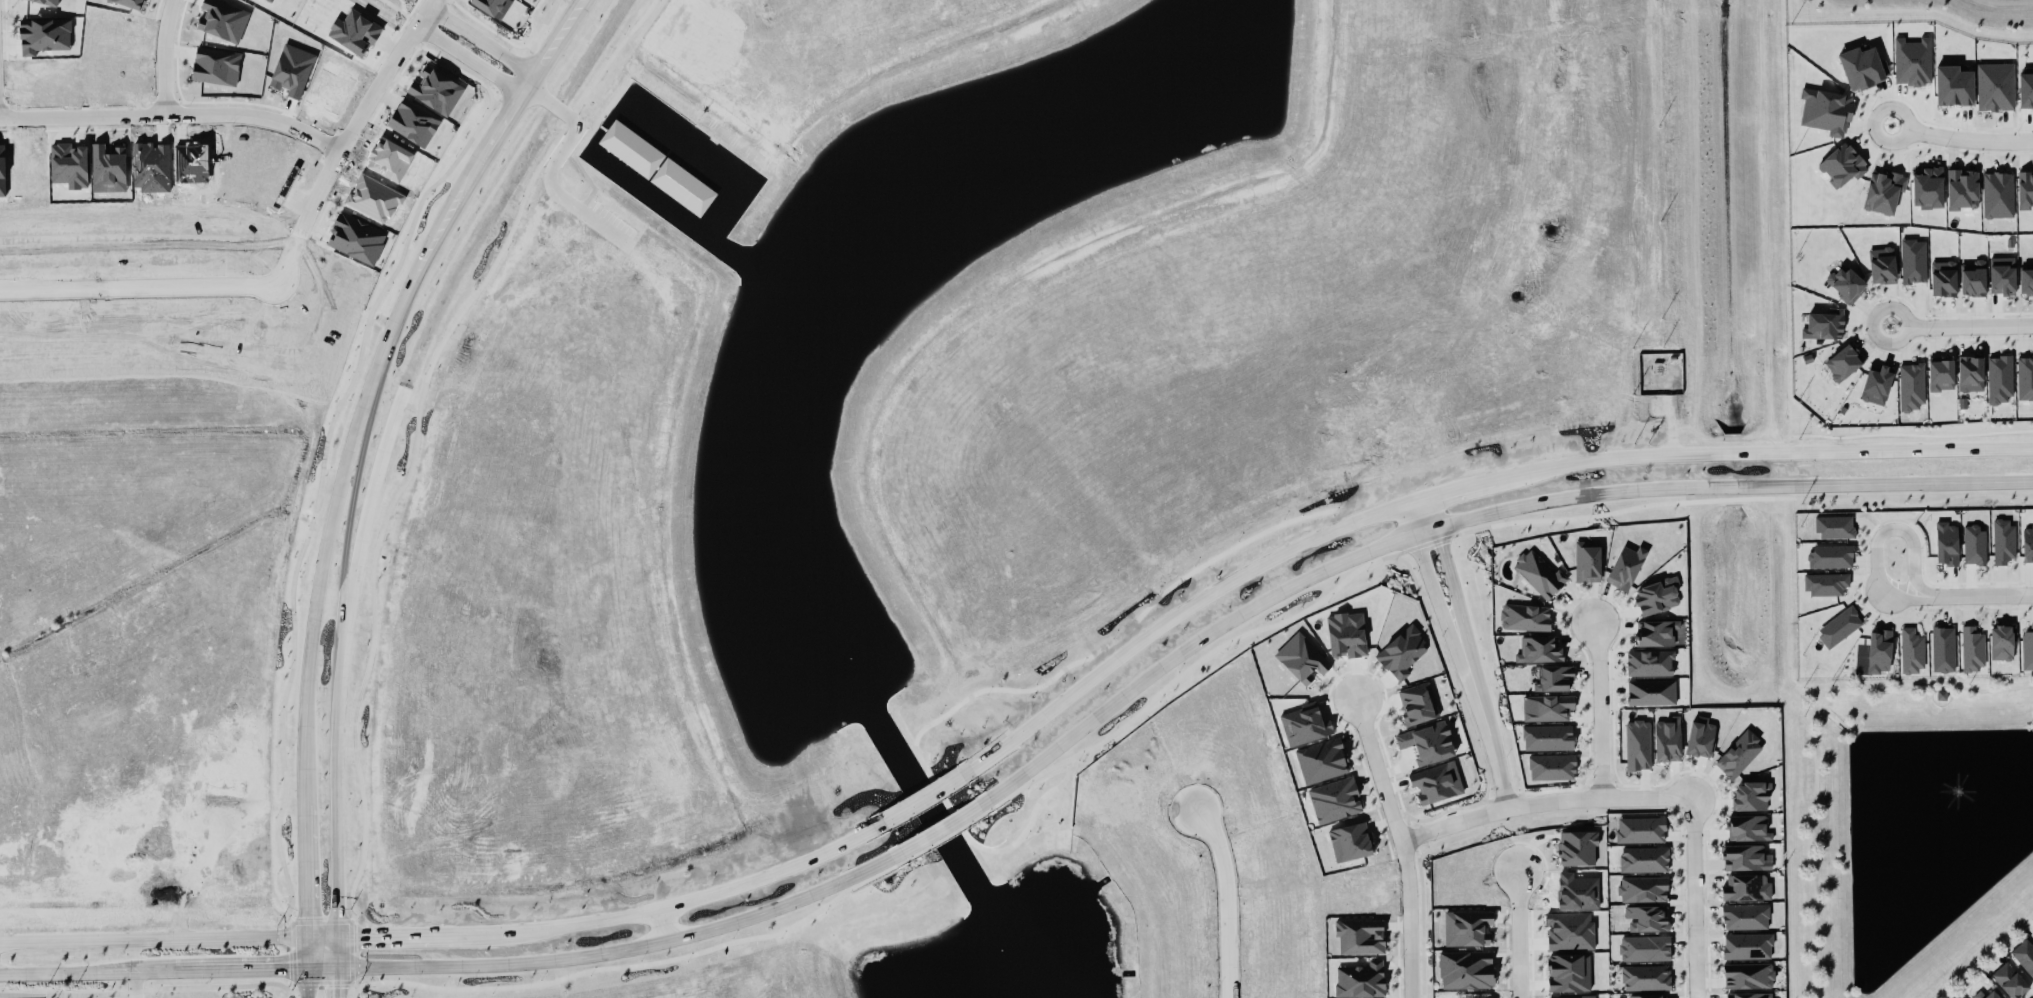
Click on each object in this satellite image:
building: (489, 6)
building: (222, 21)
building: (358, 31)
road: (480, 40)
road: (165, 56)
road: (466, 59)
building: (1913, 62)
building: (216, 68)
building: (292, 71)
road: (1533, 88)
building: (1996, 88)
building: (437, 92)
building: (1827, 112)
road: (172, 115)
road: (1396, 123)
road: (346, 137)
road: (1960, 137)
building: (1843, 166)
road: (552, 169)
road: (458, 187)
building: (751, 189)
building: (2025, 192)
building: (1884, 194)
building: (1998, 197)
building: (357, 240)
road: (1560, 248)
building: (1914, 263)
building: (1883, 267)
building: (2003, 278)
building: (1944, 280)
building: (1974, 280)
building: (2027, 281)
building: (1848, 286)
road: (139, 291)
road: (1960, 324)
building: (1825, 326)
building: (1844, 365)
building: (1942, 376)
building: (1972, 376)
building: (2025, 380)
building: (2000, 381)
building: (1878, 388)
building: (1912, 389)
road: (1458, 487)
road: (1733, 488)
road: (1433, 513)
road: (1410, 519)
building: (1835, 528)
road: (1425, 531)
road: (361, 537)
road: (347, 538)
road: (1879, 538)
building: (2003, 542)
building: (2028, 544)
road: (1379, 545)
building: (1947, 545)
building: (1974, 546)
building: (1831, 558)
building: (1588, 563)
building: (1627, 568)
road: (1449, 574)
building: (1539, 575)
road: (1430, 579)
building: (1825, 585)
road: (1973, 596)
building: (1658, 597)
building: (1526, 618)
building: (1840, 628)
building: (1656, 633)
building: (1347, 635)
building: (2002, 643)
building: (1943, 650)
building: (1973, 650)
building: (1539, 651)
building: (1912, 651)
building: (2027, 651)
building: (1880, 652)
building: (1302, 659)
road: (308, 661)
building: (1650, 664)
road: (1155, 673)
building: (1555, 679)
building: (1652, 694)
building: (1938, 697)
building: (1418, 705)
building: (1549, 709)
road: (1601, 711)
road: (1483, 715)
road: (1807, 737)
building: (1548, 739)
building: (1700, 740)
building: (1668, 741)
building: (1429, 743)
building: (1638, 746)
building: (1739, 756)
building: (1552, 768)
building: (1437, 783)
building: (1751, 798)
building: (1335, 801)
road: (1544, 803)
road: (927, 804)
road: (337, 815)
building: (1749, 829)
road: (939, 831)
building: (1641, 831)
park: (1914, 831)
building: (1351, 843)
road: (1401, 846)
building: (1578, 848)
building: (1744, 858)
building: (1645, 861)
building: (1747, 888)
building: (1644, 890)
road: (1237, 897)
road: (1695, 898)
building: (1746, 918)
building: (1647, 920)
road: (293, 924)
road: (670, 926)
building: (1468, 929)
road: (1518, 934)
building: (1361, 938)
traffic signals: (307, 941)
traffic signals: (337, 942)
road: (453, 943)
building: (1748, 947)
road: (625, 949)
building: (1645, 949)
road: (1984, 952)
road: (307, 954)
road: (337, 954)
building: (2024, 957)
road: (322, 967)
traffic signals: (337, 967)
traffic signals: (308, 968)
road: (221, 969)
building: (1466, 971)
road: (67, 973)
building: (1570, 974)
building: (1749, 977)
building: (1646, 979)
road: (337, 982)
building: (2011, 982)
road: (307, 983)
road: (135, 985)
road: (675, 986)
road: (358, 989)
road: (726, 994)
building: (1980, 995)
building: (1993, 995)
building: (1749, 996)
building: (1580, 997)
building: (1647, 997)
building: (1957, 997)

